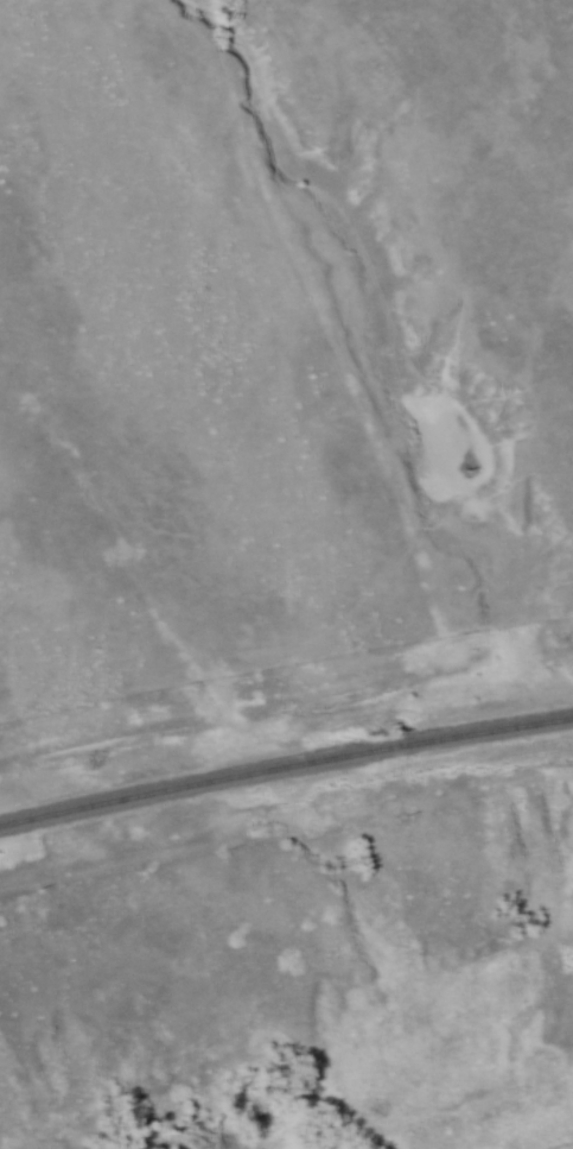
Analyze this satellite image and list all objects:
railway: (285, 782)

